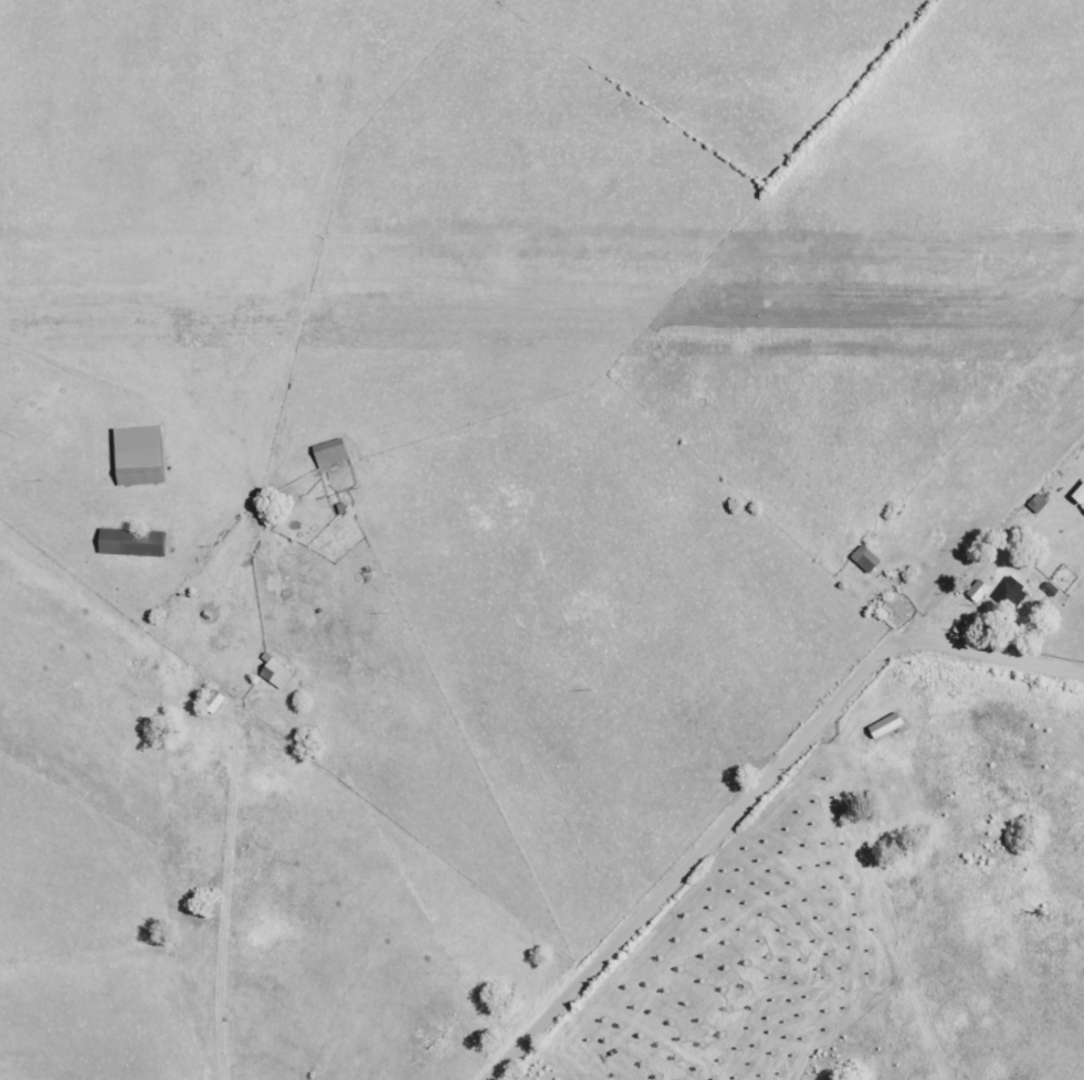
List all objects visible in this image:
building: (136, 543)
building: (864, 560)
road: (961, 580)
building: (976, 592)
building: (1011, 594)
building: (883, 727)
road: (758, 793)

